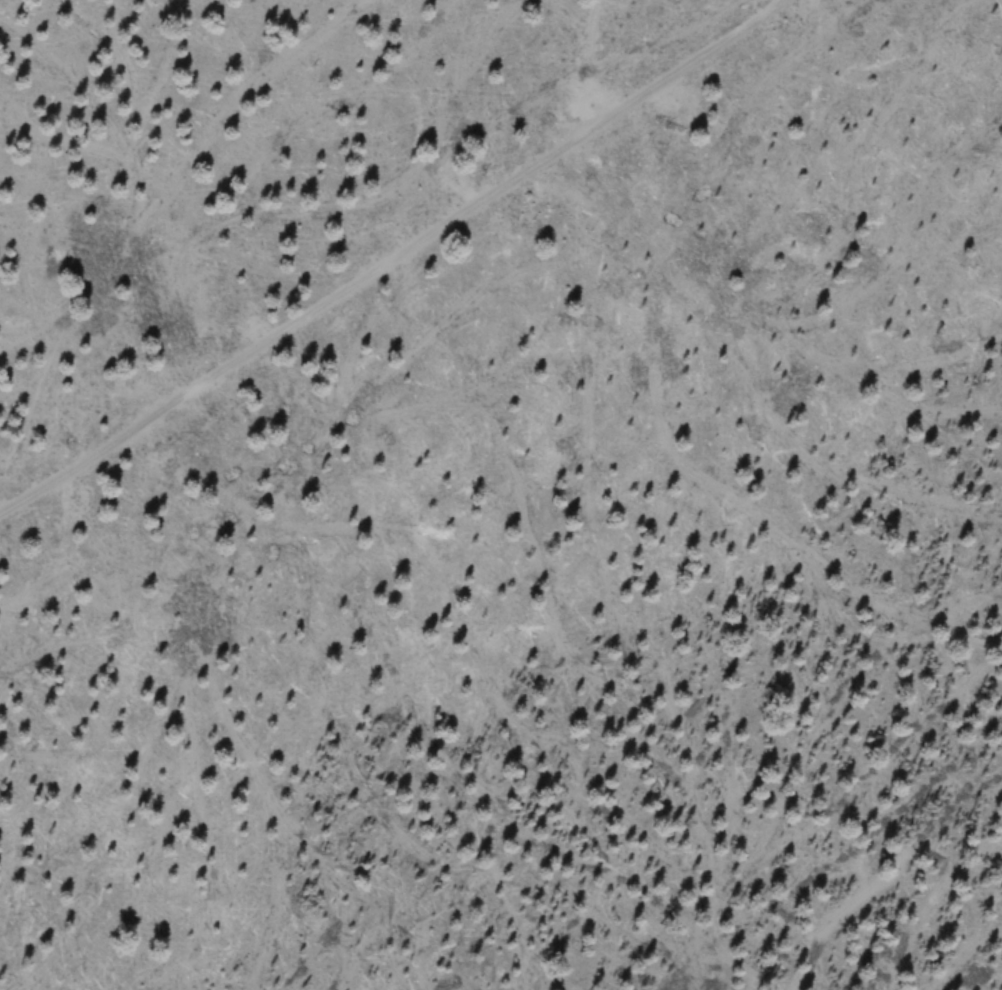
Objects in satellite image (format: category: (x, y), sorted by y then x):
road: (584, 69)
road: (389, 261)

